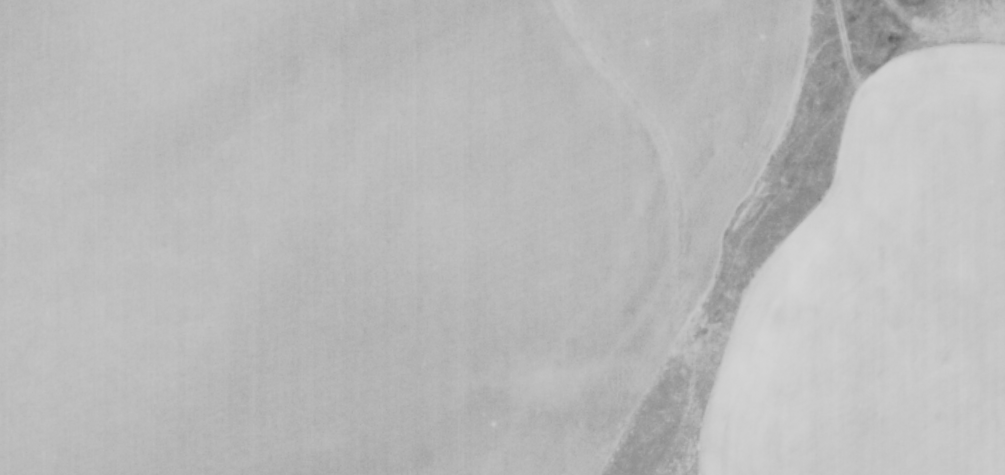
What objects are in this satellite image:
crop: (502, 237)

